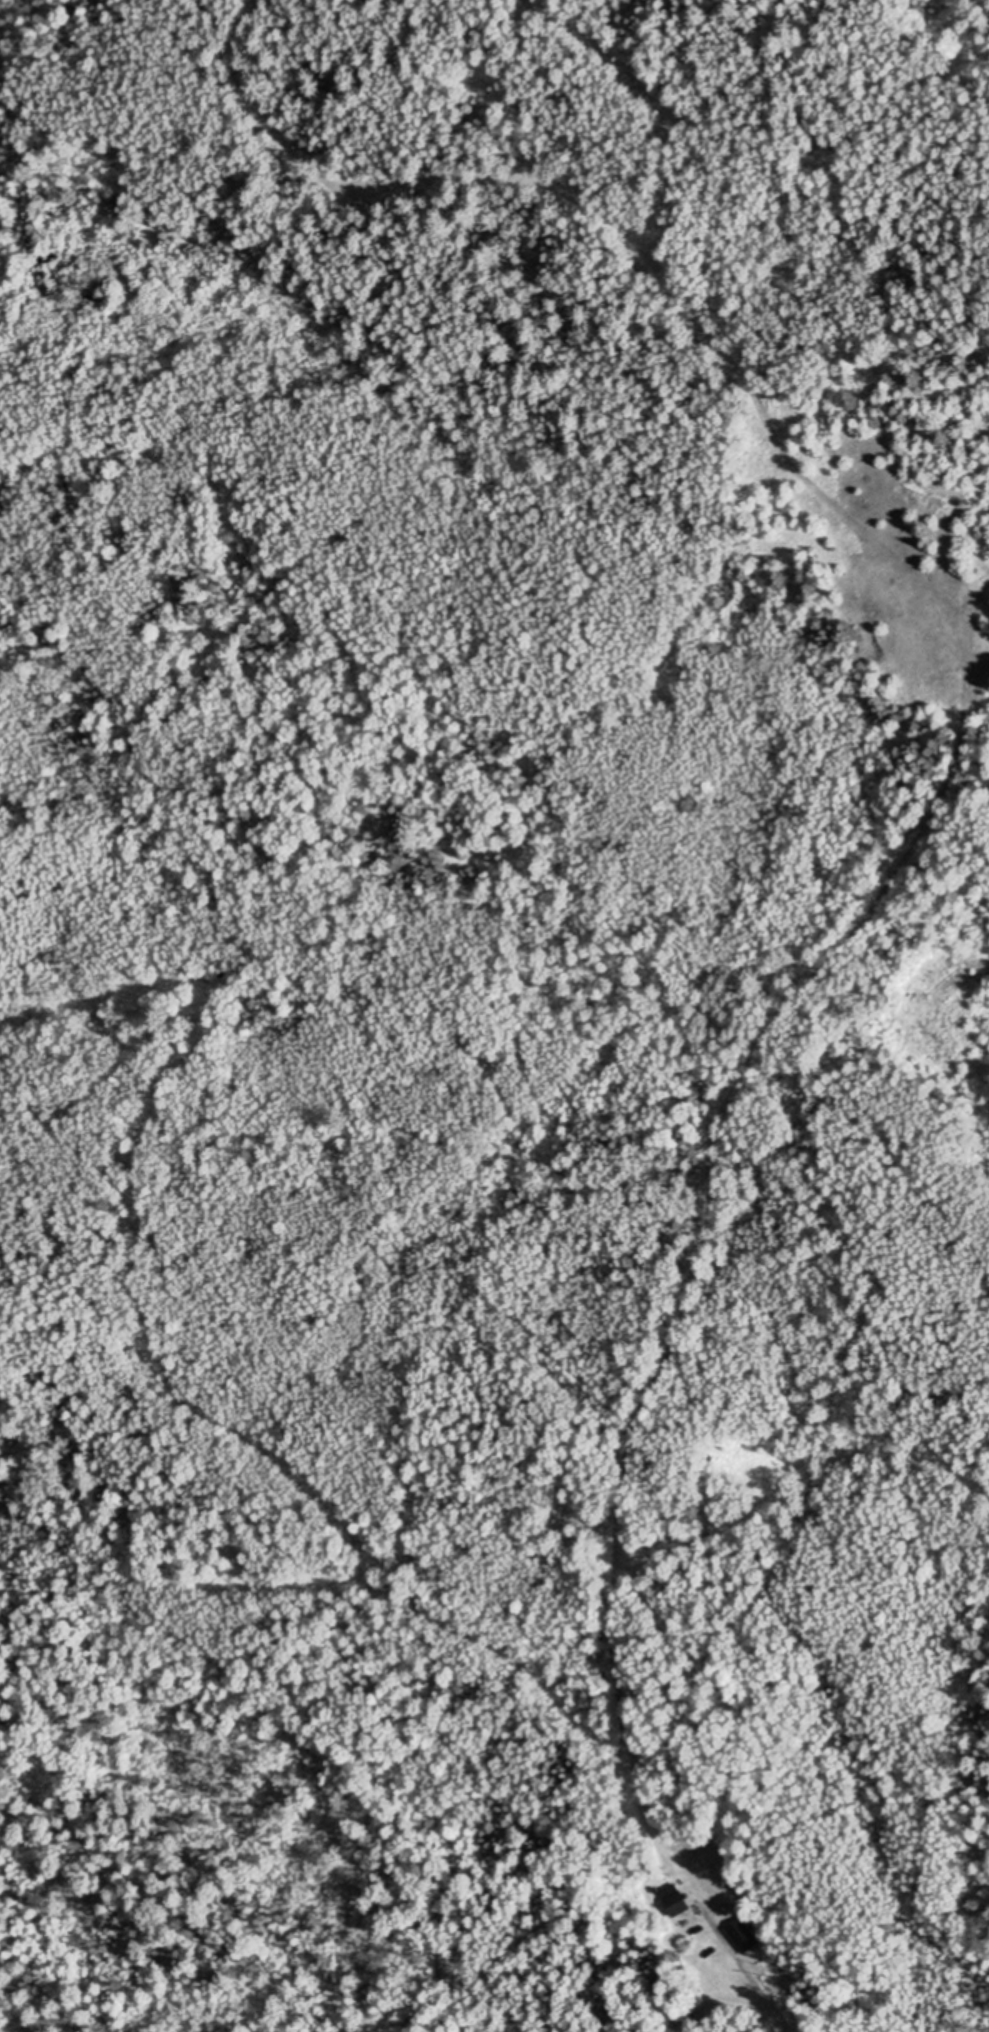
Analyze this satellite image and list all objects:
road: (743, 1969)

